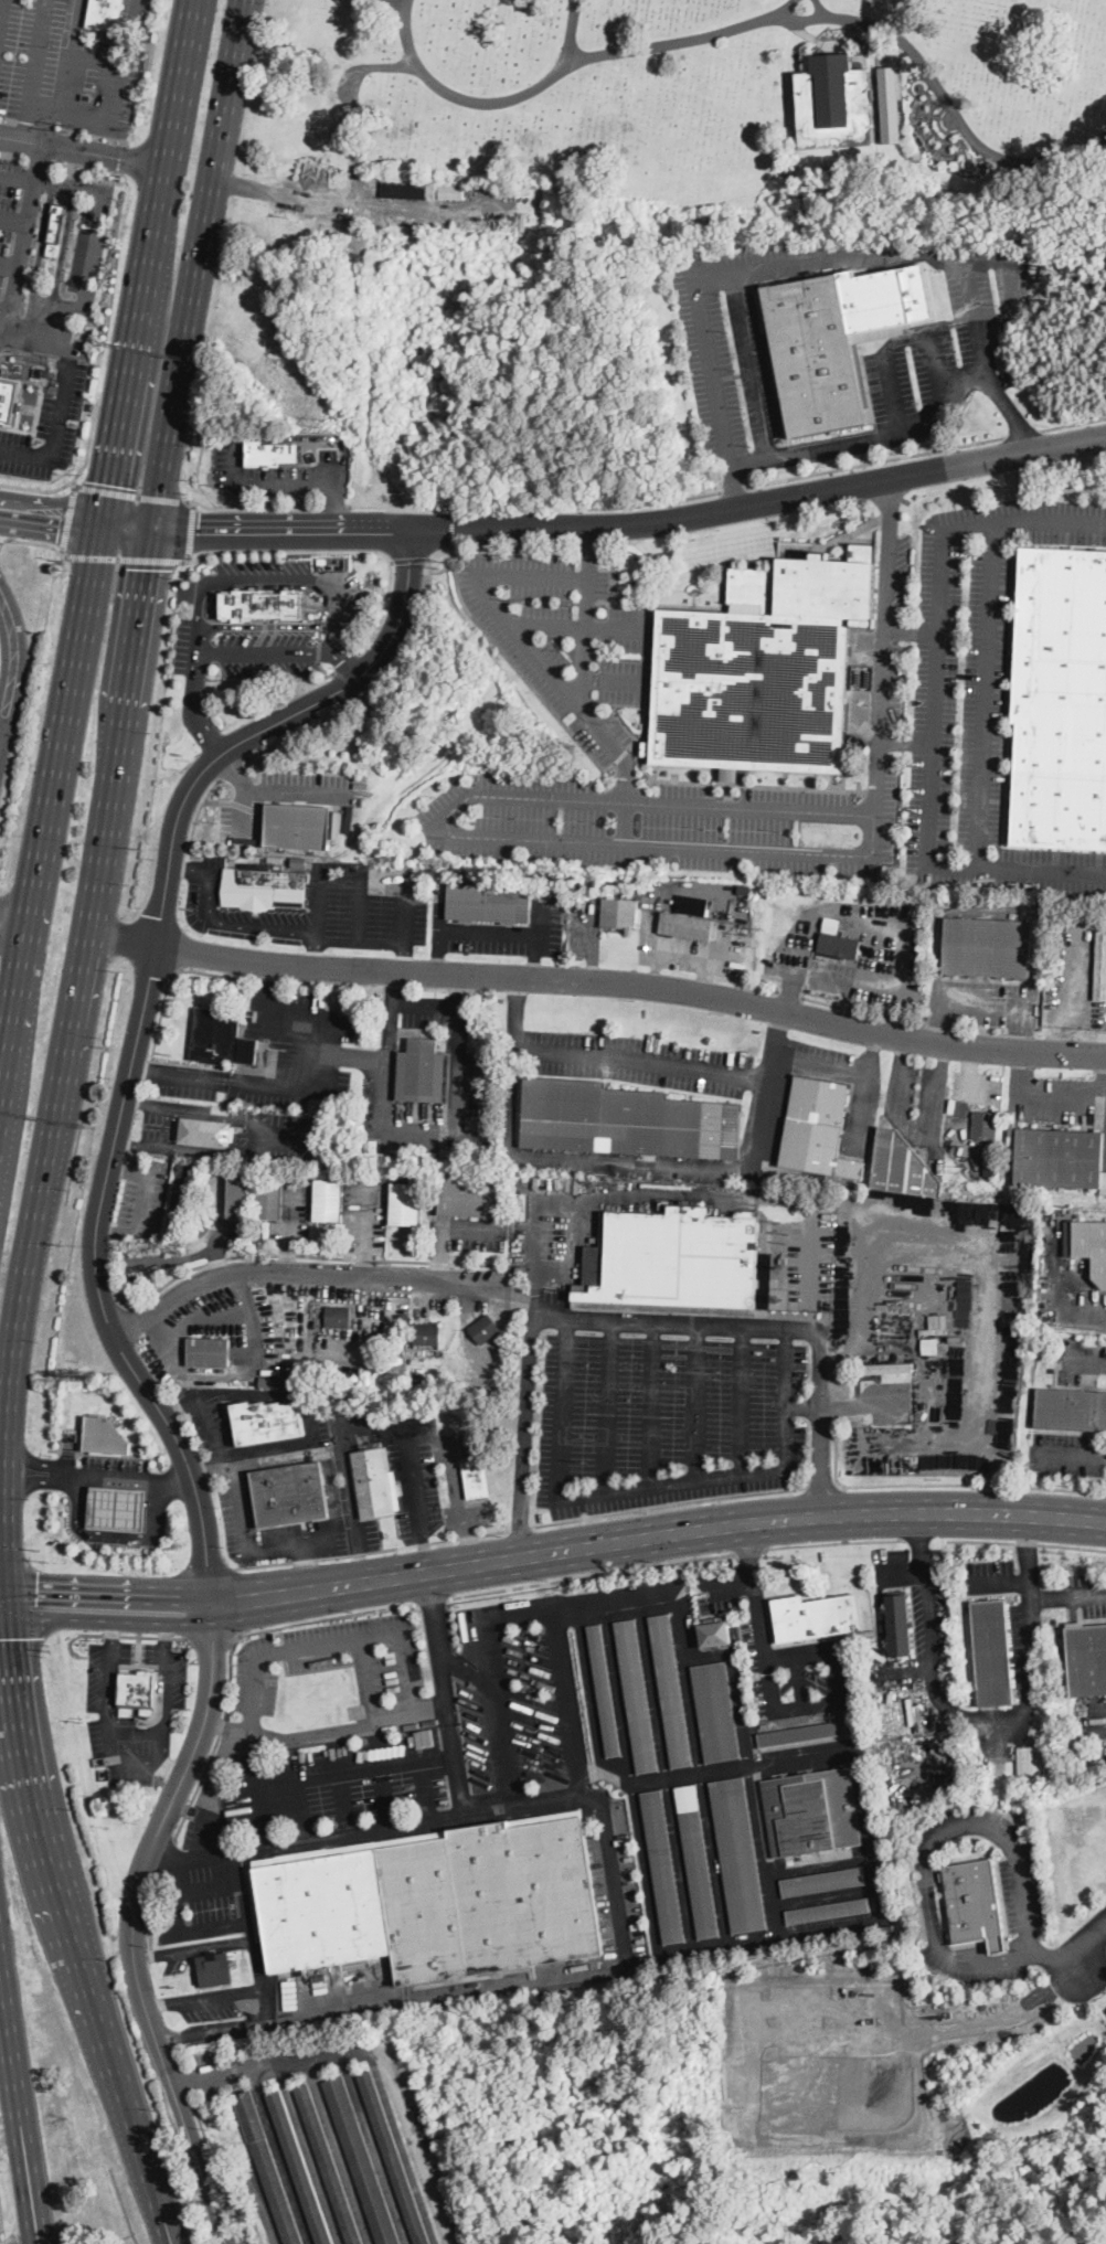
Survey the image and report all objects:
road: (788, 7)
road: (2, 12)
building: (105, 14)
road: (131, 19)
road: (75, 24)
road: (676, 38)
parking lot: (40, 57)
road: (35, 68)
parking lot: (110, 76)
road: (945, 93)
building: (86, 95)
road: (180, 100)
road: (489, 103)
building: (890, 103)
building: (834, 104)
road: (46, 109)
park: (685, 113)
road: (110, 120)
power tower: (71, 127)
road: (84, 149)
road: (19, 176)
road: (51, 181)
building: (410, 189)
building: (451, 191)
building: (508, 191)
parking lot: (10, 212)
road: (14, 217)
building: (521, 223)
building: (56, 226)
road: (24, 237)
road: (40, 243)
road: (62, 247)
road: (92, 247)
parking lot: (81, 249)
road: (10, 262)
road: (798, 263)
road: (202, 264)
building: (373, 268)
building: (1034, 270)
road: (4, 311)
road: (35, 325)
building: (837, 337)
road: (35, 340)
parking lot: (834, 343)
road: (33, 357)
road: (936, 357)
road: (130, 363)
road: (893, 387)
building: (9, 396)
road: (1012, 416)
power tower: (321, 421)
parking lot: (50, 423)
road: (1075, 424)
road: (56, 426)
road: (1025, 433)
road: (309, 436)
building: (270, 451)
road: (804, 454)
road: (748, 459)
road: (878, 462)
parking lot: (277, 472)
road: (75, 475)
traffic signals: (108, 482)
road: (74, 485)
road: (267, 487)
road: (734, 488)
road: (734, 490)
road: (131, 493)
road: (53, 498)
road: (15, 499)
road: (759, 502)
road: (333, 506)
road: (535, 506)
road: (892, 506)
road: (249, 507)
road: (337, 508)
road: (68, 520)
road: (451, 525)
road: (50, 527)
road: (128, 527)
traffic signals: (59, 529)
road: (192, 529)
road: (7, 530)
traffic signals: (198, 530)
road: (283, 530)
road: (7, 539)
road: (42, 544)
road: (592, 549)
road: (336, 550)
road: (433, 552)
road: (189, 556)
road: (124, 559)
road: (410, 559)
power tower: (442, 563)
traffic signals: (150, 567)
road: (321, 586)
road: (490, 595)
building: (263, 604)
parking lot: (269, 615)
road: (581, 630)
road: (913, 631)
road: (319, 634)
road: (341, 647)
road: (319, 649)
road: (270, 651)
road: (135, 653)
road: (345, 662)
road: (11, 666)
road: (323, 670)
building: (762, 670)
road: (883, 674)
building: (859, 678)
road: (616, 680)
parking lot: (1012, 692)
road: (193, 693)
road: (584, 694)
road: (988, 696)
building: (1061, 700)
parking lot: (567, 705)
road: (937, 708)
road: (311, 723)
road: (0, 724)
road: (59, 740)
road: (908, 741)
road: (231, 768)
building: (730, 773)
road: (275, 789)
parking lot: (278, 798)
road: (198, 810)
road: (241, 812)
road: (628, 823)
building: (298, 825)
road: (454, 836)
road: (98, 855)
building: (275, 857)
building: (297, 862)
building: (874, 869)
building: (265, 889)
building: (744, 889)
building: (565, 896)
road: (319, 902)
road: (360, 903)
building: (489, 903)
parking lot: (321, 904)
building: (694, 904)
building: (619, 913)
road: (220, 919)
road: (12, 922)
building: (689, 923)
road: (889, 926)
road: (488, 929)
power tower: (758, 930)
parking lot: (499, 933)
road: (393, 943)
building: (840, 945)
building: (987, 947)
road: (438, 949)
road: (317, 950)
road: (533, 954)
road: (405, 956)
building: (1100, 966)
road: (169, 980)
road: (596, 980)
road: (765, 989)
road: (790, 995)
road: (987, 999)
road: (9, 1009)
road: (862, 1011)
road: (140, 1019)
road: (781, 1031)
building: (221, 1039)
road: (386, 1051)
parking lot: (812, 1057)
road: (620, 1059)
parking lot: (636, 1060)
road: (840, 1065)
building: (422, 1072)
road: (284, 1085)
road: (1059, 1094)
road: (149, 1106)
road: (53, 1109)
road: (454, 1118)
building: (287, 1120)
building: (626, 1120)
building: (471, 1123)
building: (308, 1124)
building: (985, 1125)
building: (818, 1128)
building: (202, 1131)
building: (242, 1135)
road: (257, 1138)
road: (142, 1145)
building: (371, 1145)
building: (480, 1150)
building: (990, 1150)
building: (449, 1152)
building: (1060, 1158)
building: (902, 1167)
power tower: (963, 1168)
building: (988, 1168)
building: (636, 1173)
road: (678, 1192)
building: (238, 1193)
parking lot: (143, 1197)
building: (270, 1198)
building: (470, 1198)
building: (328, 1201)
road: (141, 1202)
building: (179, 1202)
building: (405, 1203)
building: (1092, 1244)
road: (278, 1253)
building: (595, 1263)
building: (678, 1263)
road: (286, 1276)
building: (338, 1317)
road: (205, 1318)
road: (650, 1322)
building: (485, 1329)
building: (933, 1329)
building: (427, 1333)
building: (955, 1337)
building: (929, 1344)
building: (209, 1351)
road: (1084, 1364)
building: (392, 1365)
building: (886, 1369)
building: (293, 1380)
road: (177, 1400)
road: (743, 1401)
road: (858, 1402)
road: (696, 1403)
road: (652, 1406)
road: (607, 1408)
building: (1071, 1408)
parking lot: (669, 1418)
building: (267, 1422)
road: (368, 1422)
parking lot: (212, 1426)
road: (7, 1428)
building: (104, 1435)
gas station: (104, 1435)
building: (363, 1439)
road: (837, 1453)
parking lot: (1066, 1454)
road: (1068, 1455)
parking lot: (398, 1457)
parking lot: (117, 1464)
road: (211, 1472)
road: (98, 1474)
building: (476, 1478)
parking lot: (458, 1481)
building: (372, 1482)
road: (971, 1485)
road: (820, 1486)
road: (651, 1488)
road: (1105, 1493)
building: (290, 1495)
road: (459, 1500)
road: (76, 1502)
road: (668, 1502)
building: (117, 1507)
parking lot: (353, 1507)
road: (158, 1508)
road: (240, 1510)
road: (520, 1527)
parking lot: (272, 1529)
road: (116, 1533)
road: (673, 1533)
road: (916, 1539)
road: (1025, 1544)
road: (372, 1550)
road: (13, 1553)
road: (748, 1560)
road: (307, 1563)
road: (669, 1563)
road: (3, 1574)
parking lot: (990, 1575)
road: (729, 1582)
traffic signals: (38, 1586)
road: (125, 1588)
road: (8, 1595)
road: (626, 1595)
parking lot: (1085, 1595)
road: (1029, 1597)
road: (47, 1604)
road: (4, 1616)
building: (816, 1617)
road: (130, 1619)
building: (901, 1626)
parking lot: (932, 1633)
road: (135, 1634)
building: (715, 1634)
traffic signals: (12, 1637)
road: (213, 1638)
parking lot: (1024, 1641)
road: (24, 1644)
road: (403, 1645)
road: (440, 1647)
building: (991, 1652)
building: (1087, 1659)
parking lot: (339, 1661)
road: (468, 1669)
road: (370, 1679)
road: (494, 1679)
road: (799, 1681)
building: (137, 1690)
building: (604, 1691)
building: (670, 1691)
building: (637, 1697)
road: (565, 1701)
road: (810, 1703)
road: (432, 1706)
parking lot: (534, 1706)
road: (949, 1709)
building: (715, 1712)
parking lot: (107, 1713)
road: (146, 1722)
road: (136, 1729)
parking lot: (474, 1731)
building: (804, 1732)
building: (1025, 1758)
road: (137, 1762)
road: (170, 1766)
road: (343, 1767)
road: (425, 1785)
road: (382, 1793)
road: (195, 1794)
parking lot: (380, 1797)
road: (342, 1798)
road: (212, 1802)
building: (806, 1815)
road: (940, 1822)
road: (376, 1825)
building: (738, 1854)
building: (696, 1861)
building: (662, 1865)
parking lot: (617, 1880)
building: (822, 1881)
road: (221, 1886)
parking lot: (1023, 1889)
parking lot: (209, 1892)
road: (64, 1899)
building: (976, 1902)
building: (438, 1903)
building: (830, 1911)
road: (132, 1919)
road: (180, 1933)
road: (1086, 1945)
parking lot: (178, 1957)
road: (256, 1960)
building: (214, 1968)
parking lot: (968, 1969)
road: (539, 1980)
parking lot: (210, 2002)
road: (375, 2051)
road: (12, 2053)
road: (180, 2055)
road: (187, 2078)
road: (9, 2091)
building: (393, 2157)
building: (361, 2161)
building: (328, 2165)
road: (216, 2168)
building: (267, 2168)
building: (300, 2168)
road: (29, 2195)
road: (35, 2195)
road: (159, 2209)
road: (164, 2209)

